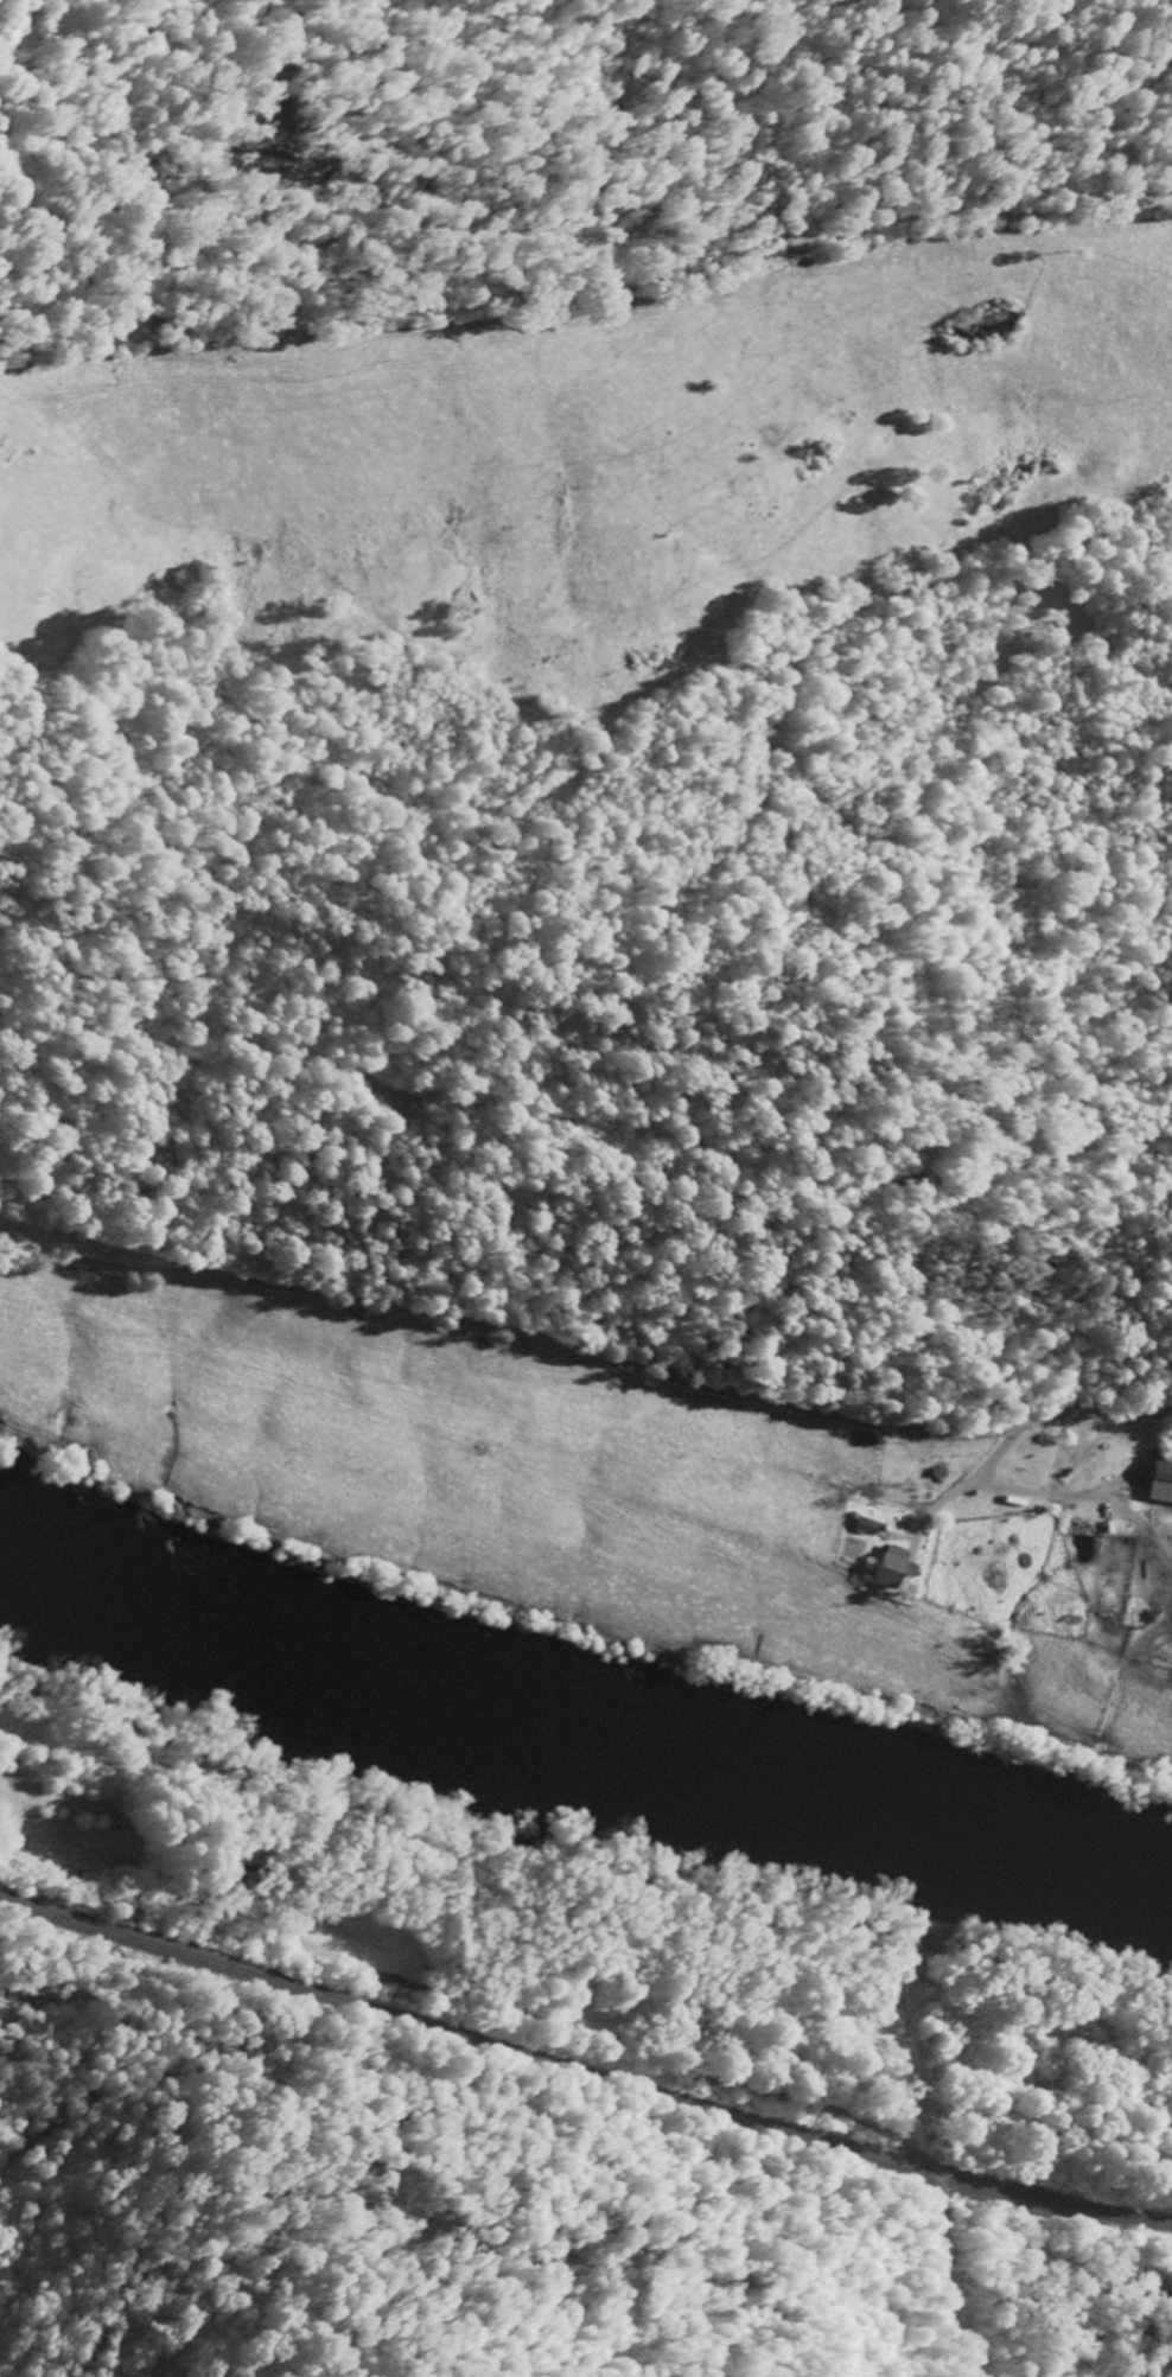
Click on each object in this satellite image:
road: (582, 1355)
building: (1161, 1478)
building: (891, 1566)
river: (581, 1726)
railway: (582, 2071)
road: (941, 2275)

